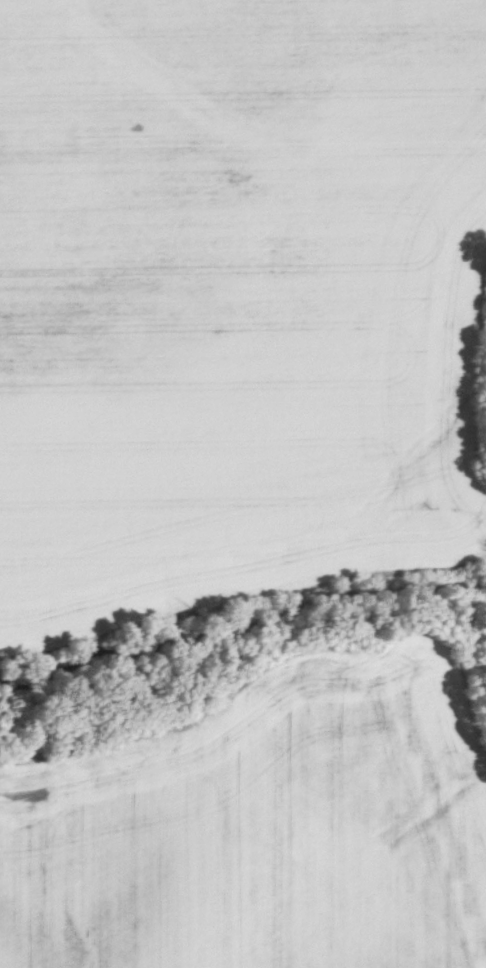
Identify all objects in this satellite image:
crop: (237, 304)
crop: (262, 824)

